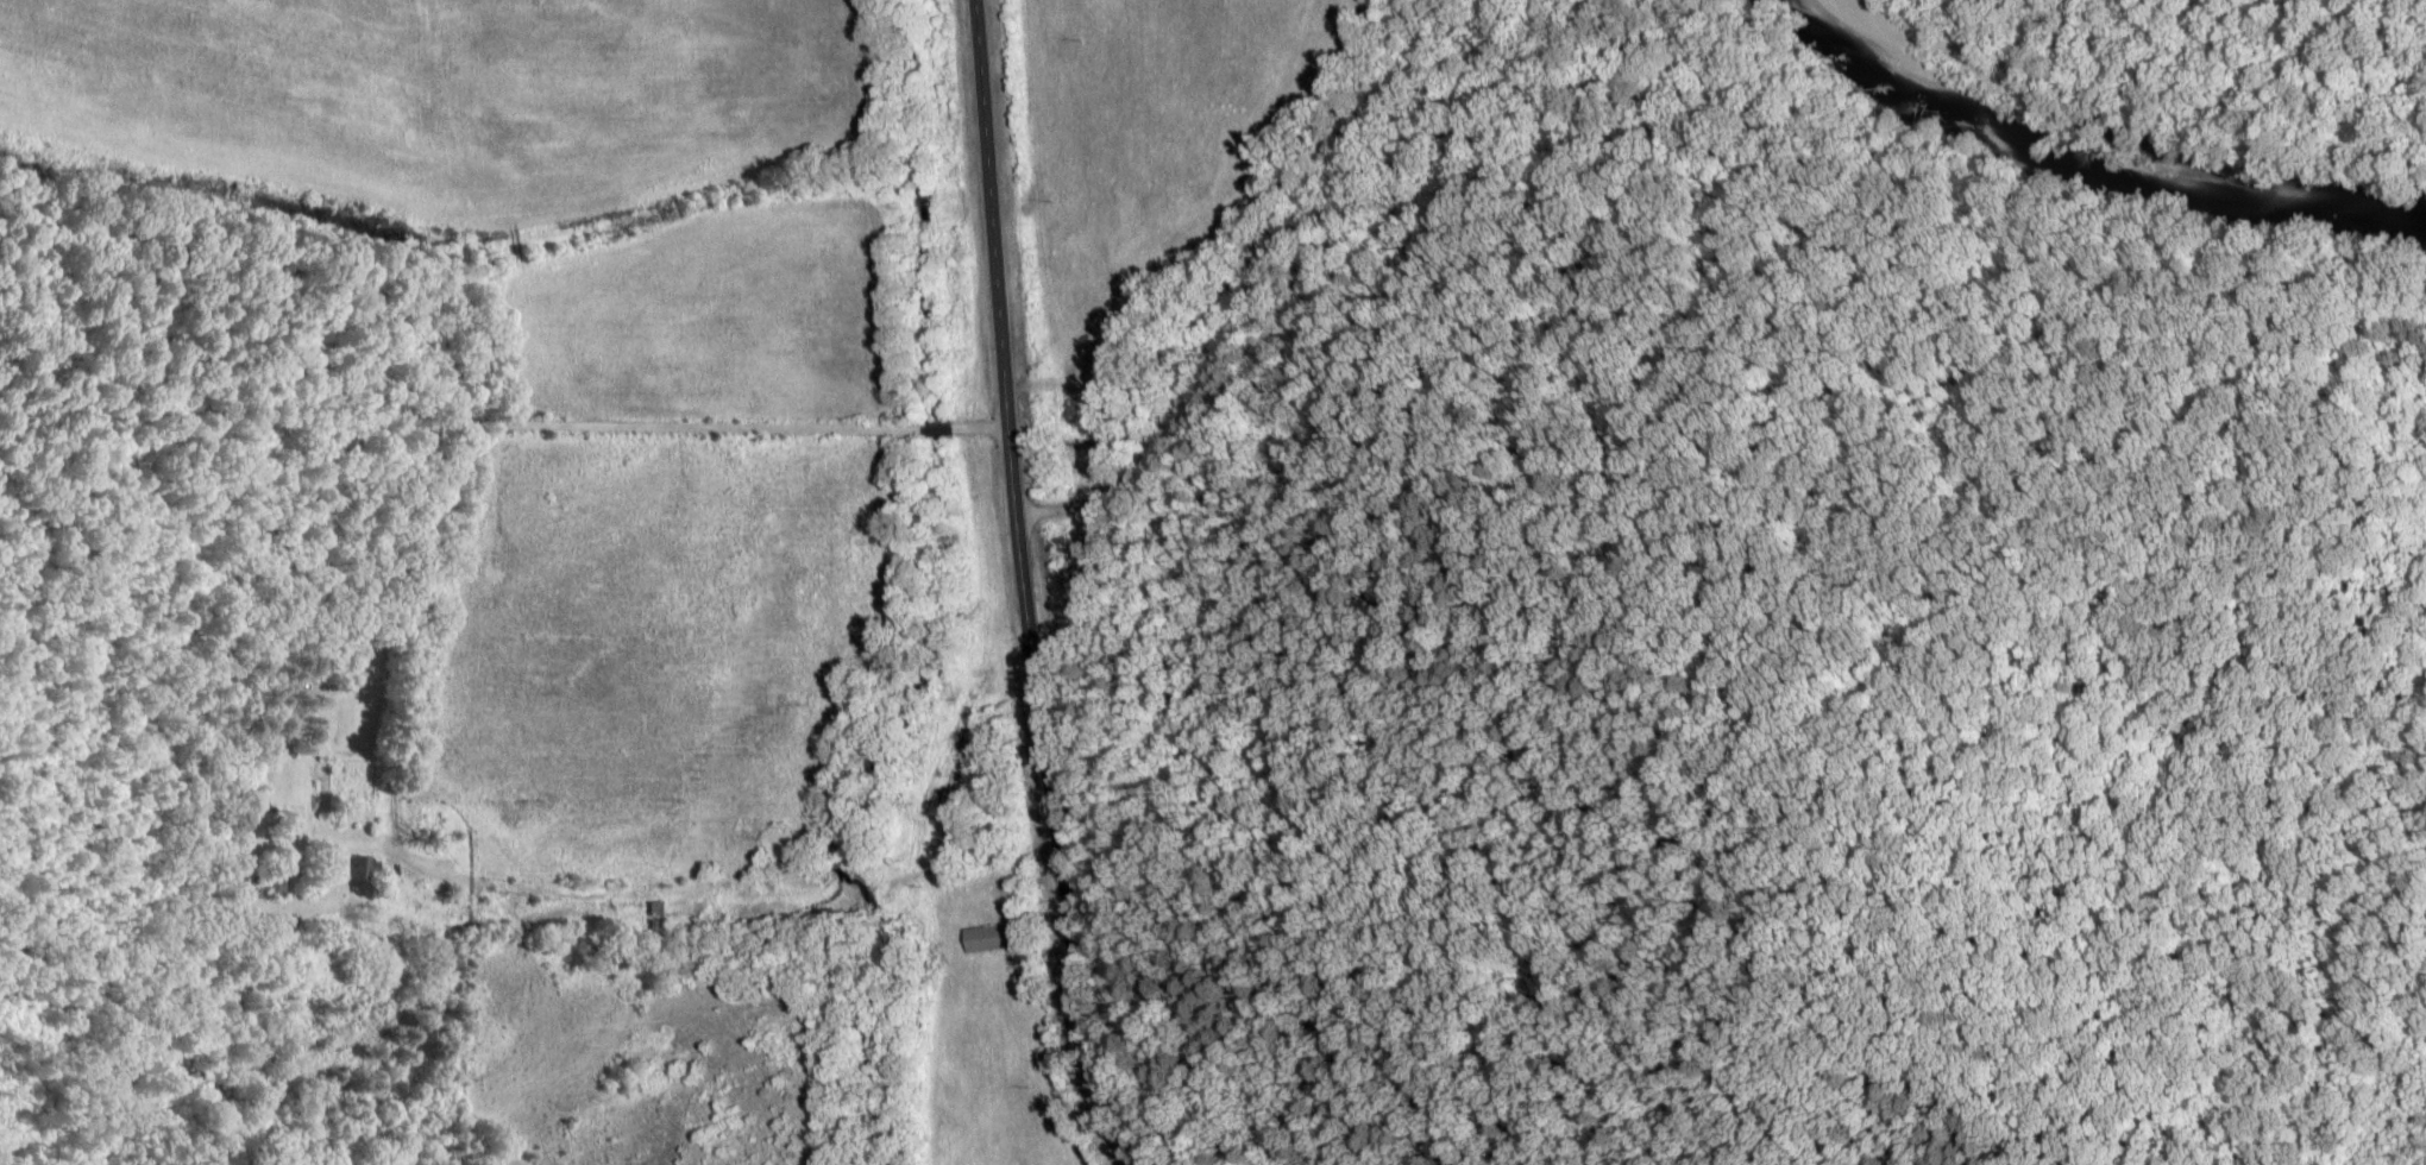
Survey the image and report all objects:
road: (1240, 294)
road: (465, 422)
road: (1018, 587)
road: (1037, 840)
building: (362, 868)
building: (277, 888)
building: (660, 920)
building: (985, 940)

